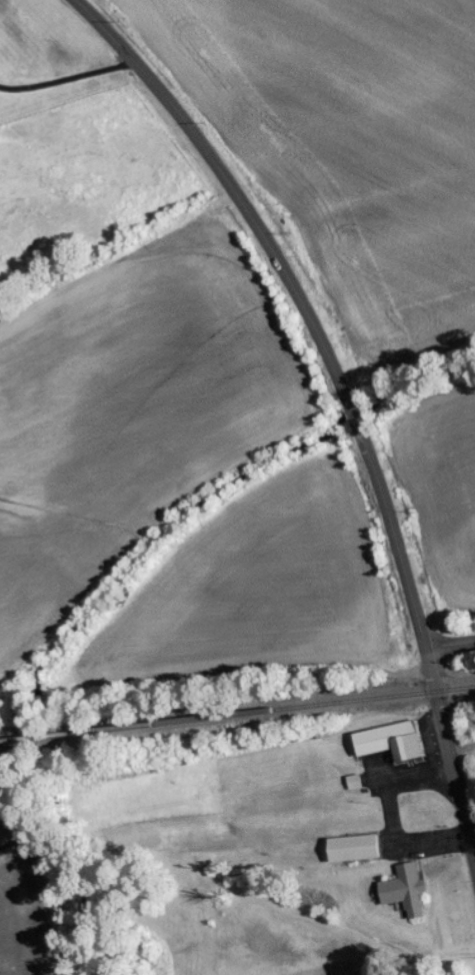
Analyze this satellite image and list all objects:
road: (297, 299)
road: (450, 647)
railway: (237, 715)
building: (389, 743)
road: (450, 761)
building: (354, 783)
building: (351, 850)
building: (405, 891)

